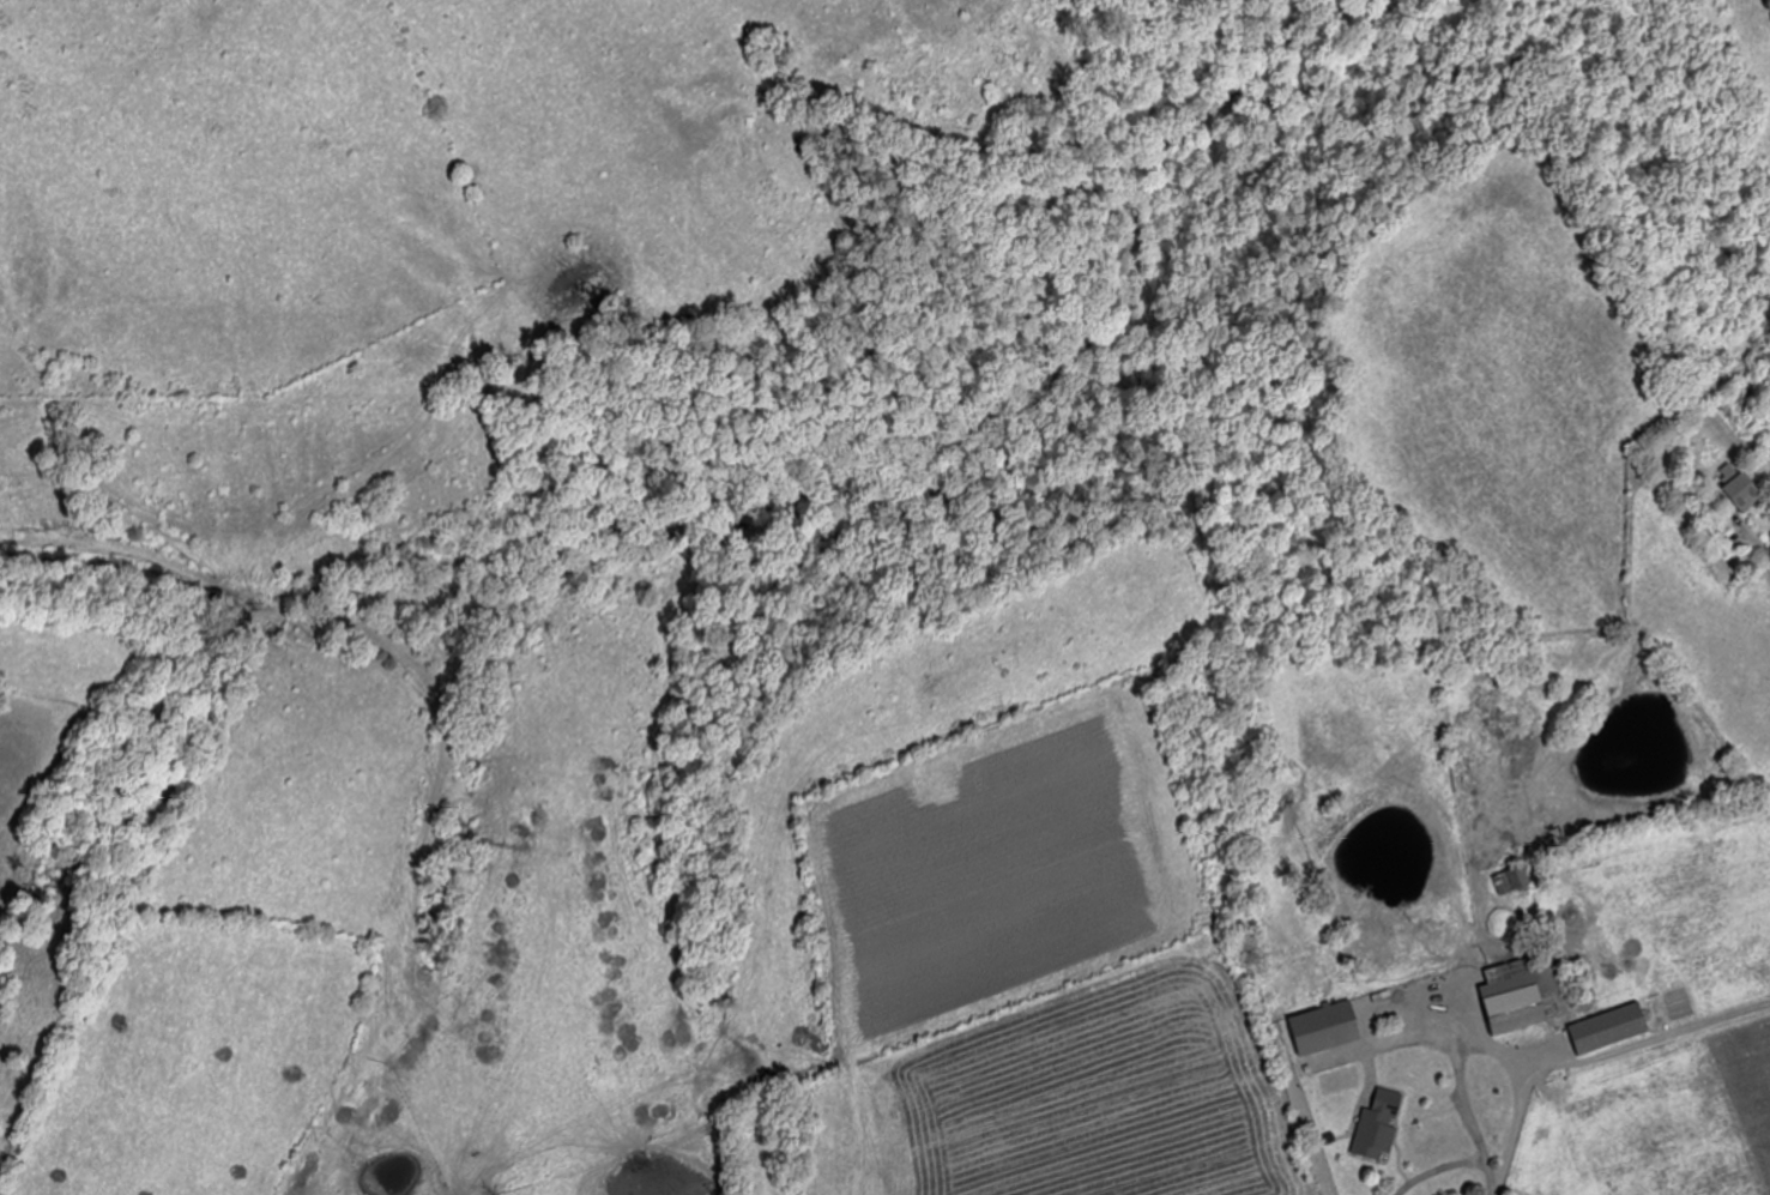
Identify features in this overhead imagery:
building: (1744, 491)
road: (1754, 536)
building: (1512, 880)
building: (1514, 997)
building: (1637, 1018)
building: (1325, 1027)
road: (1542, 1061)
building: (1409, 1142)

